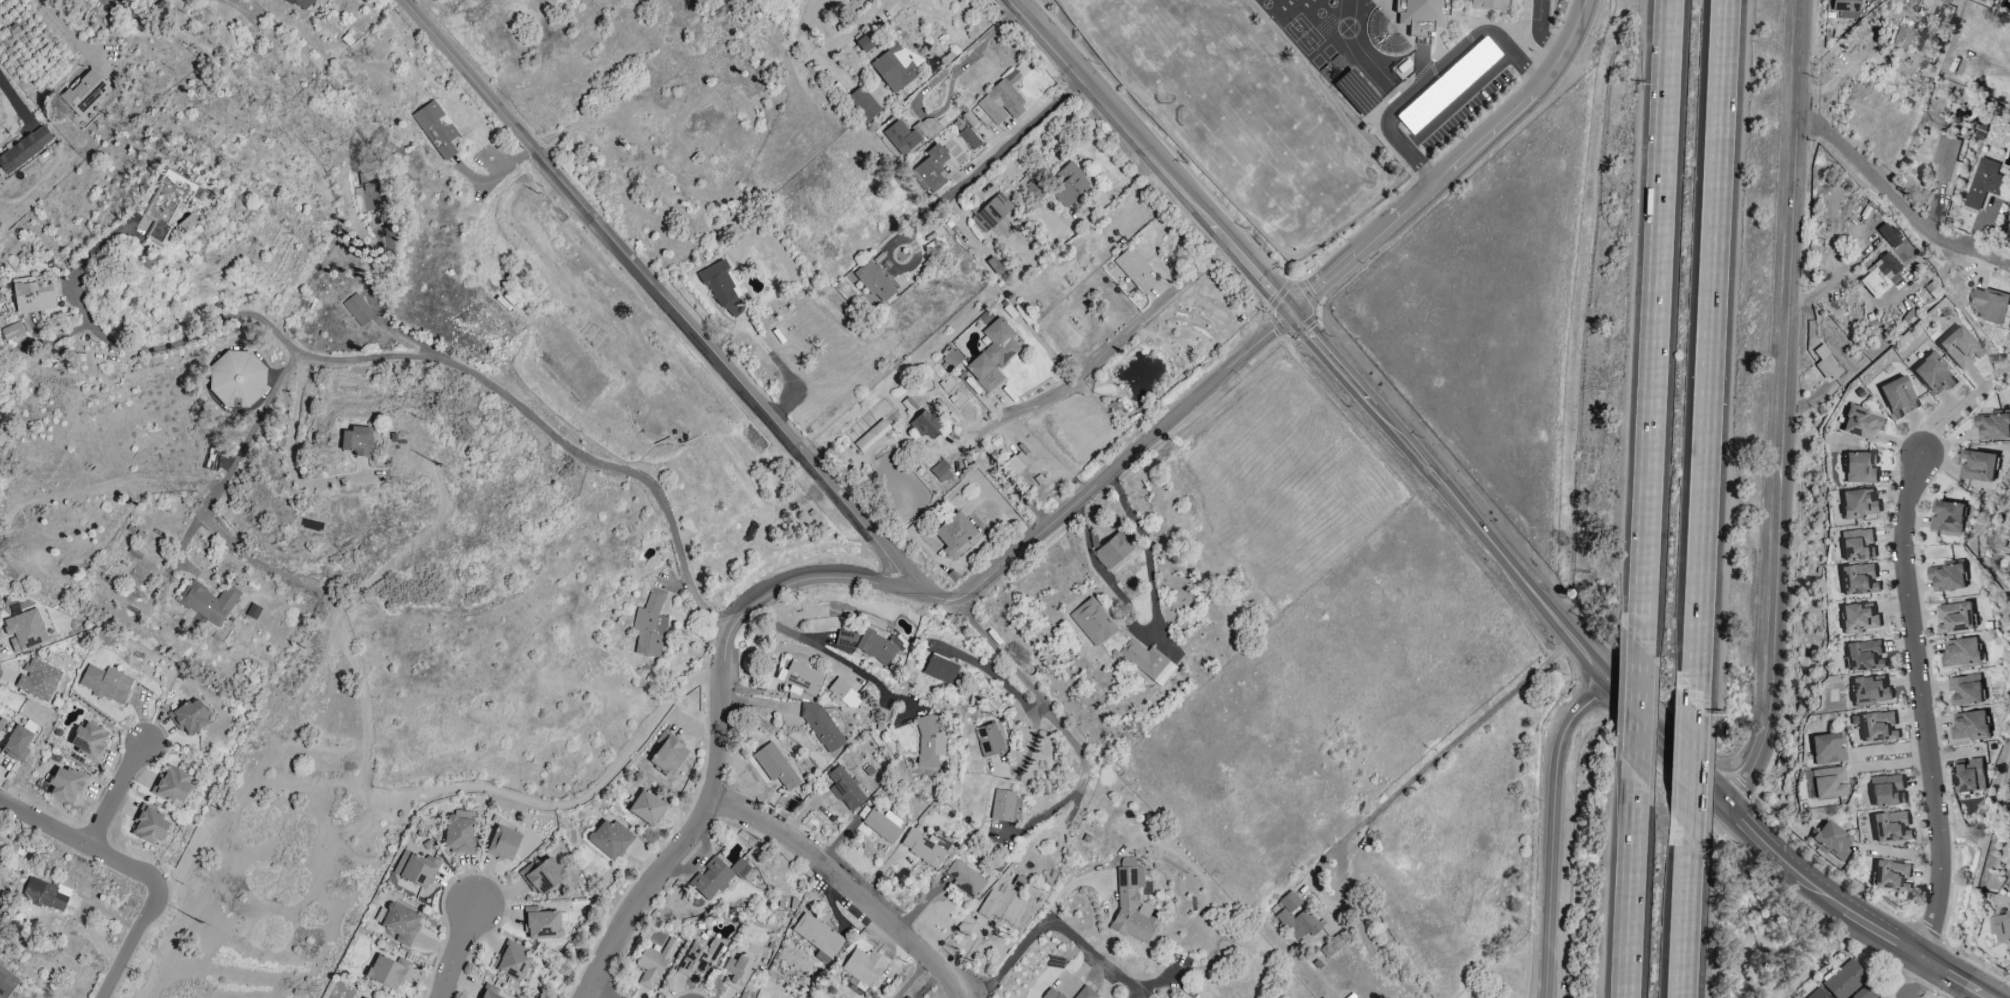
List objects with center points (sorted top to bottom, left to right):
building: (294, 2)
building: (1845, 9)
road: (1539, 32)
road: (69, 33)
park: (1302, 34)
road: (845, 35)
building: (1902, 39)
building: (865, 43)
road: (969, 49)
building: (894, 65)
road: (1435, 73)
road: (1841, 75)
building: (1316, 92)
building: (84, 93)
building: (1001, 101)
road: (1457, 101)
road: (16, 102)
building: (861, 105)
park: (1246, 120)
building: (436, 129)
building: (900, 137)
building: (968, 138)
road: (1003, 148)
building: (24, 149)
road: (1152, 156)
building: (1947, 158)
road: (1452, 166)
building: (930, 170)
road: (494, 179)
building: (1983, 182)
building: (1069, 184)
building: (1035, 190)
building: (371, 192)
road: (1895, 203)
building: (167, 205)
building: (991, 212)
road: (1082, 217)
building: (191, 219)
building: (1887, 235)
road: (892, 264)
building: (1135, 271)
building: (1879, 277)
road: (1826, 280)
building: (874, 282)
building: (722, 289)
road: (1655, 296)
building: (33, 298)
building: (1990, 304)
road: (1156, 308)
building: (358, 310)
road: (1710, 324)
building: (1959, 348)
building: (992, 356)
road: (398, 359)
building: (1826, 365)
building: (1933, 375)
building: (236, 379)
building: (1898, 397)
road: (754, 400)
road: (1036, 402)
road: (1783, 406)
road: (1952, 416)
building: (1861, 425)
building: (1992, 426)
building: (926, 427)
building: (871, 436)
building: (356, 441)
road: (284, 447)
road: (240, 448)
building: (1015, 464)
power tower: (436, 465)
building: (1977, 465)
building: (1860, 468)
building: (940, 472)
road: (1004, 475)
road: (1430, 476)
building: (1858, 504)
building: (1947, 516)
building: (953, 533)
building: (1857, 544)
building: (1113, 552)
road: (1766, 564)
building: (1947, 577)
building: (1858, 579)
road: (851, 580)
building: (208, 602)
building: (0, 603)
building: (252, 611)
building: (1955, 617)
building: (1858, 618)
building: (1092, 623)
building: (650, 628)
building: (24, 630)
building: (868, 645)
building: (1962, 653)
building: (1864, 655)
road: (835, 657)
building: (1147, 662)
building: (939, 669)
road: (992, 675)
building: (800, 679)
building: (37, 680)
building: (106, 684)
building: (1965, 690)
building: (1869, 691)
building: (843, 694)
road: (1919, 705)
road: (1638, 709)
building: (189, 717)
building: (1, 721)
building: (1970, 725)
building: (824, 726)
building: (1878, 726)
building: (987, 740)
building: (89, 741)
building: (928, 743)
building: (16, 744)
building: (1827, 749)
road: (1692, 751)
building: (667, 757)
road: (1435, 758)
building: (775, 766)
building: (1970, 775)
building: (1827, 782)
building: (66, 785)
building: (172, 785)
building: (845, 789)
road: (469, 790)
building: (1887, 791)
road: (118, 796)
building: (1004, 806)
building: (646, 808)
road: (592, 813)
building: (149, 826)
building: (883, 826)
building: (1891, 827)
road: (1553, 829)
building: (459, 834)
building: (609, 839)
road: (1761, 841)
building: (1831, 841)
building: (502, 844)
building: (922, 848)
building: (415, 869)
road: (139, 872)
building: (1891, 875)
building: (2008, 875)
building: (541, 876)
building: (717, 877)
road: (1632, 879)
building: (964, 880)
park: (273, 881)
road: (849, 888)
building: (45, 894)
building: (1131, 904)
building: (1002, 905)
building: (1294, 917)
power tower: (200, 923)
building: (400, 923)
building: (542, 925)
road: (1684, 925)
building: (2000, 926)
building: (817, 938)
building: (1334, 944)
road: (455, 951)
road: (1096, 955)
building: (697, 958)
road: (1013, 958)
building: (511, 961)
building: (653, 963)
road: (1625, 965)
road: (1628, 965)
building: (863, 967)
building: (385, 973)
building: (736, 973)
road: (912, 978)
building: (1845, 980)
road: (1920, 982)
building: (6, 983)
building: (1085, 993)
building: (1863, 993)
road: (592, 994)
building: (1051, 994)
building: (1816, 994)
building: (487, 995)
building: (907, 996)

